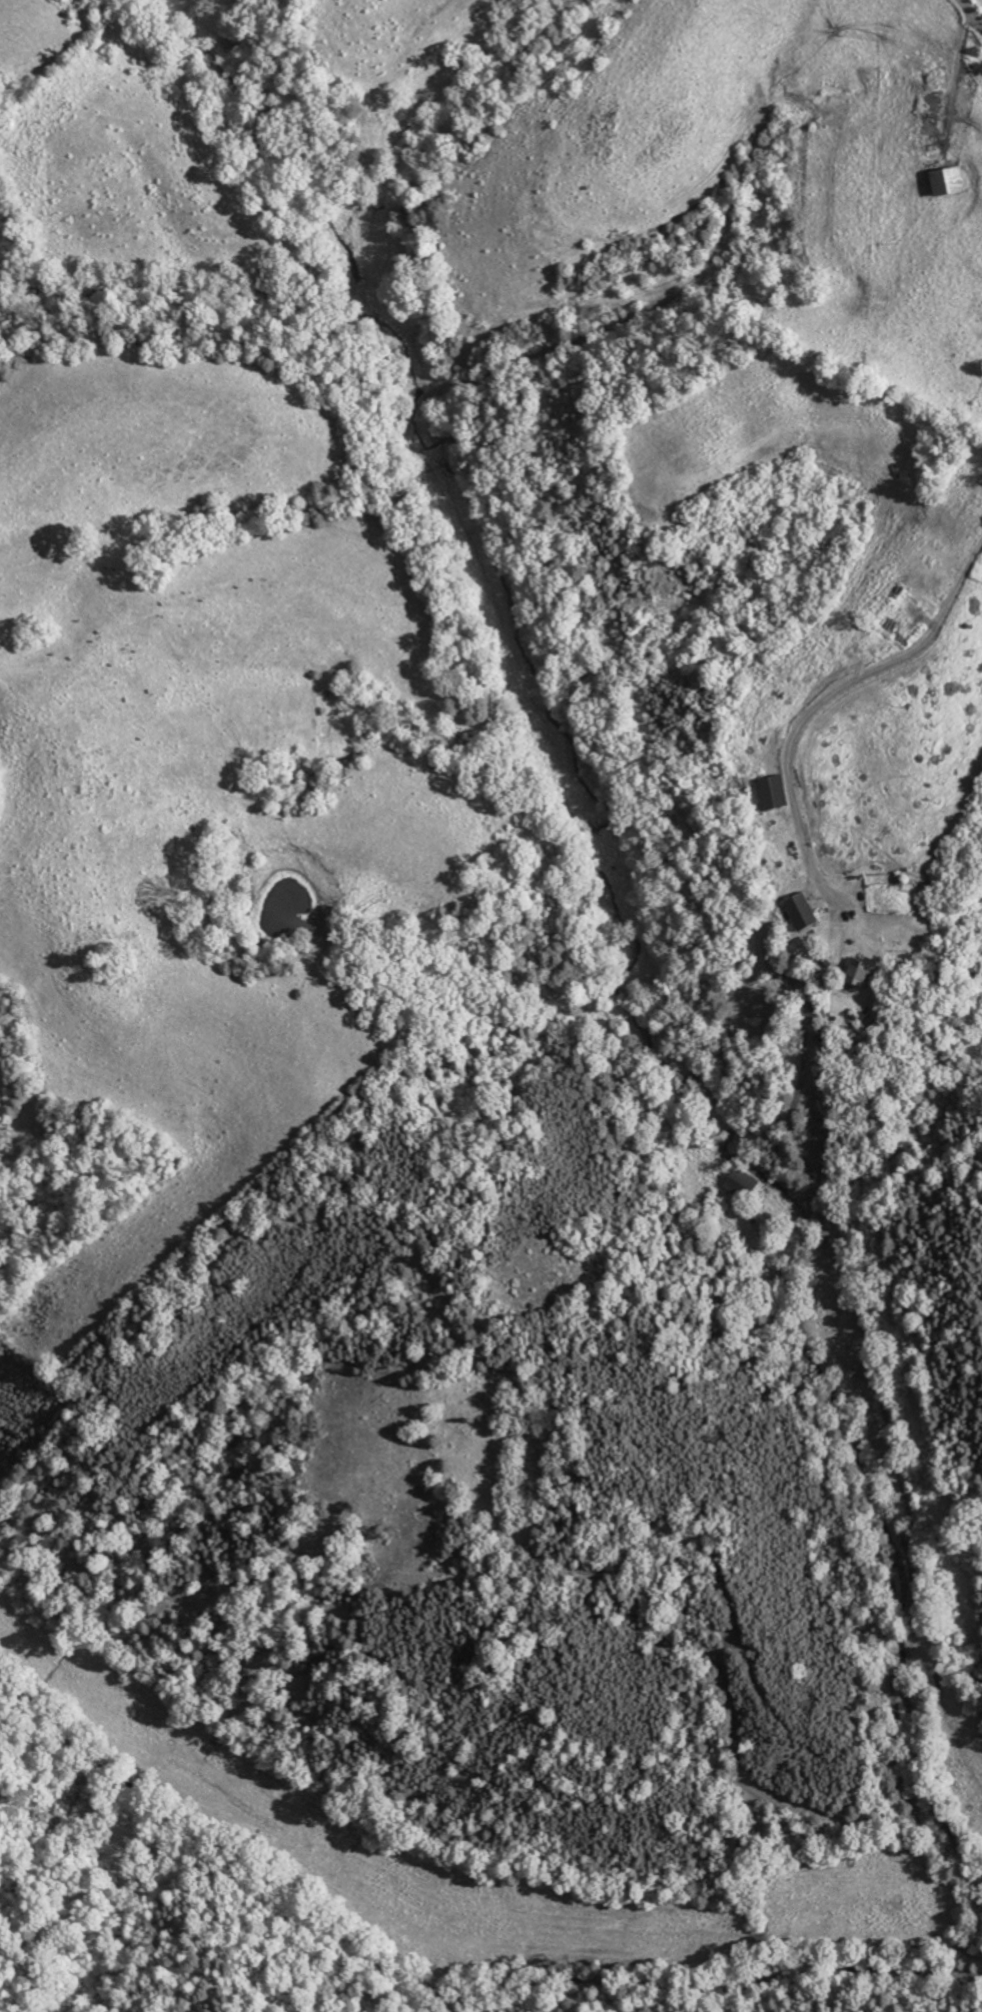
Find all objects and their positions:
road: (972, 12)
building: (944, 181)
road: (822, 703)
building: (771, 793)
building: (799, 912)
building: (858, 974)
building: (742, 1184)

